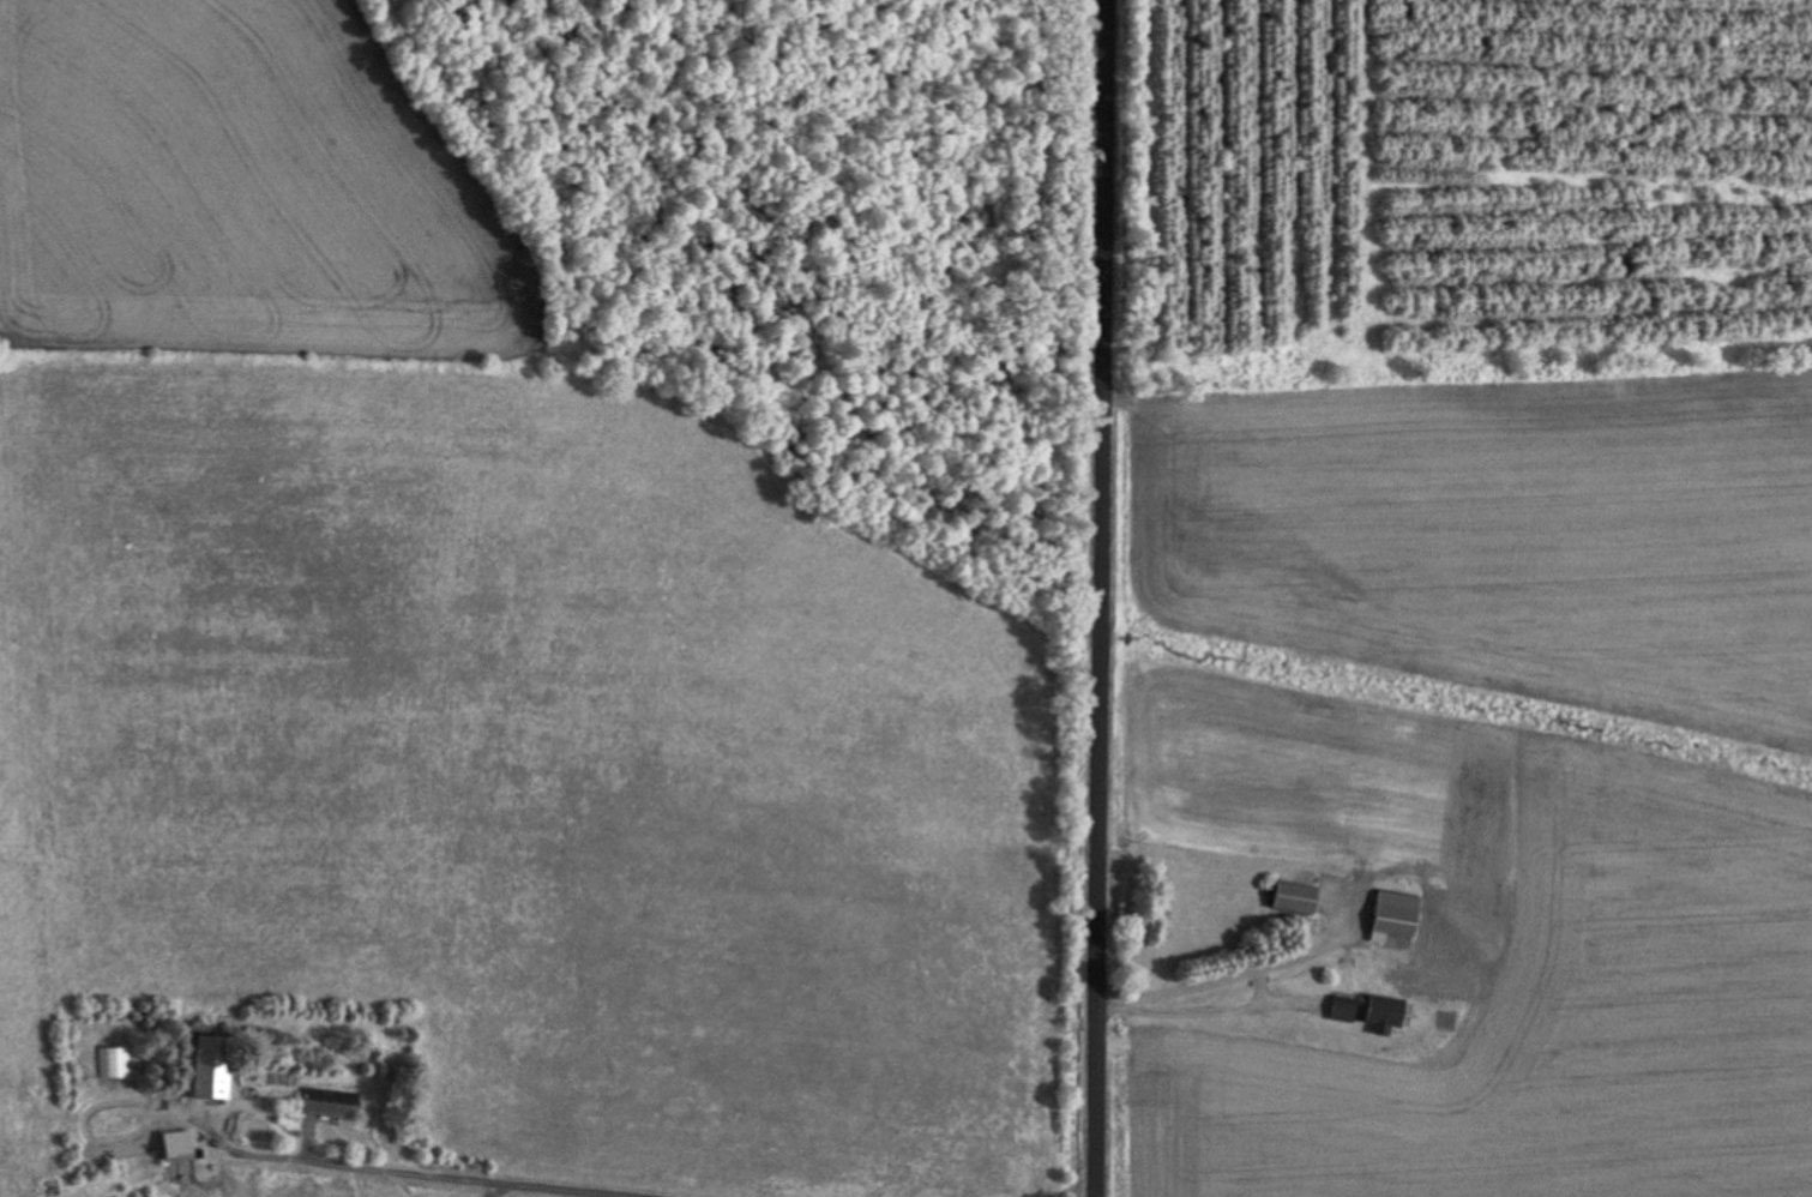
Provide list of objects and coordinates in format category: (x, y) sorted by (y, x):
road: (1112, 598)
building: (1320, 860)
building: (1290, 896)
building: (1392, 914)
building: (1368, 1009)
building: (116, 1060)
building: (211, 1064)
building: (333, 1101)
building: (183, 1144)
road: (444, 1173)

